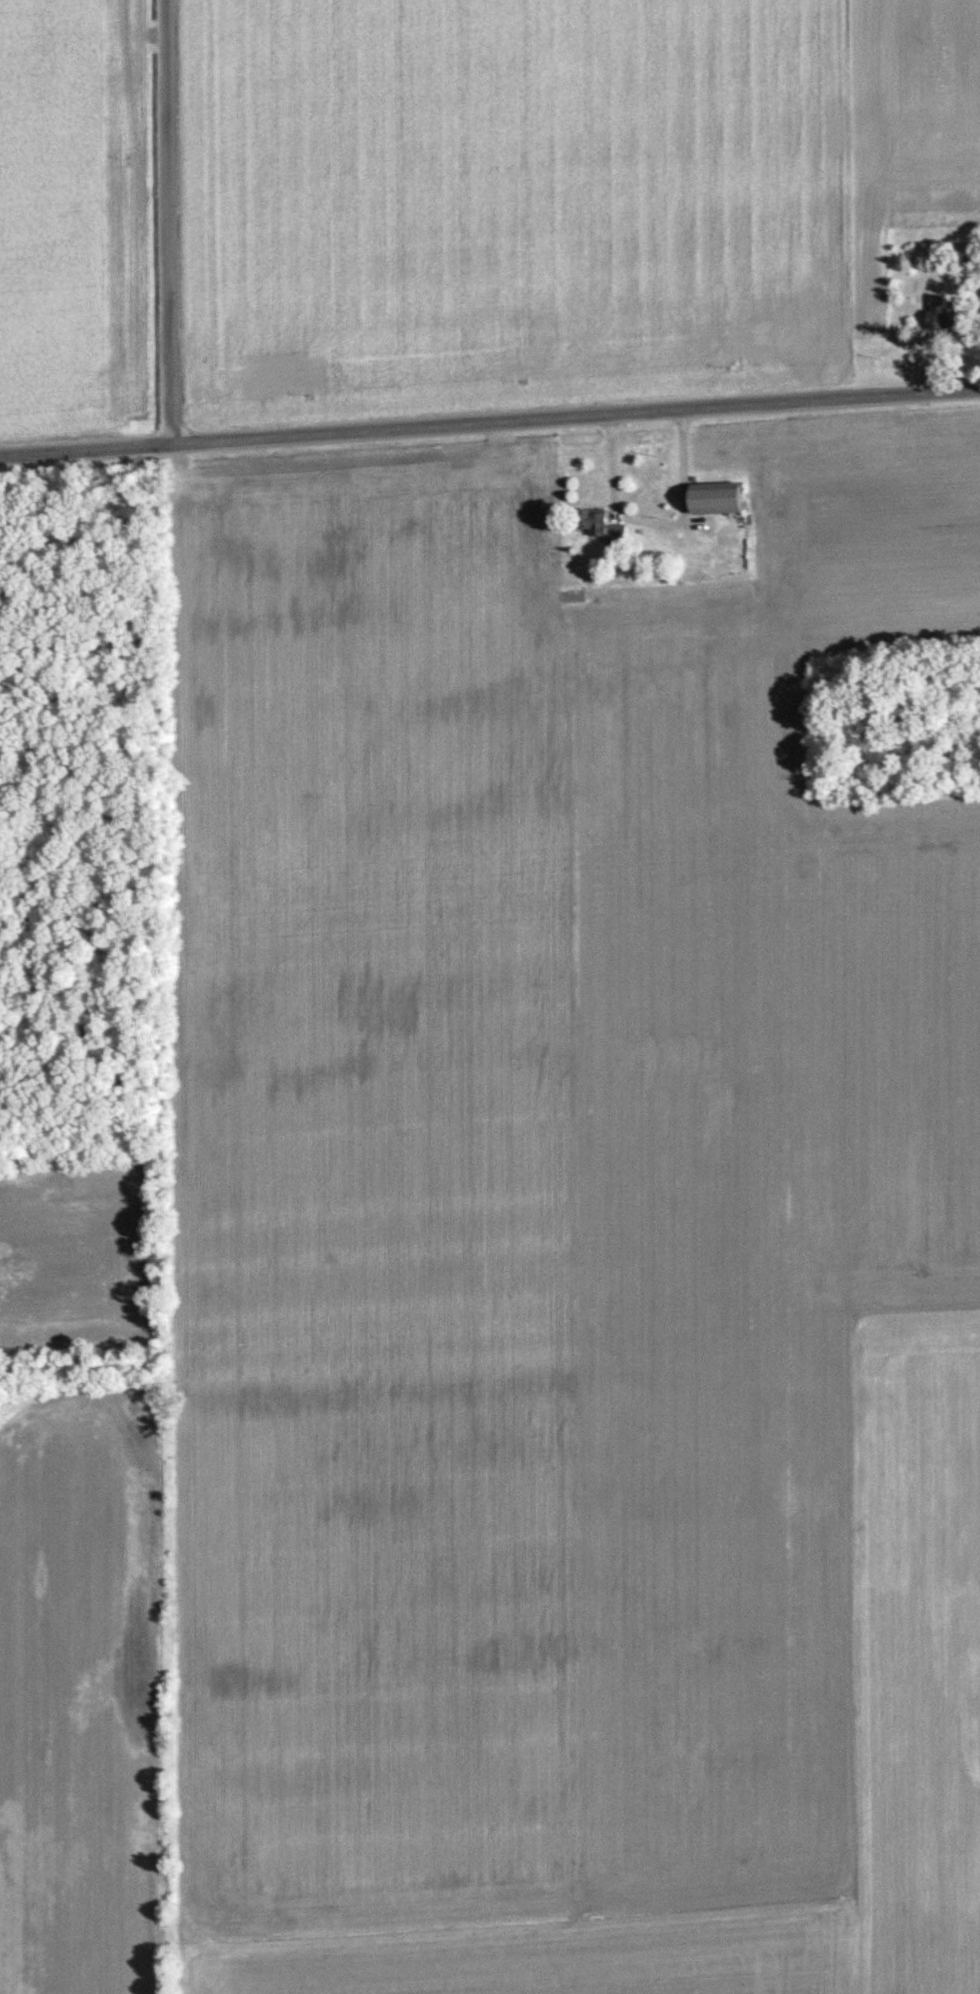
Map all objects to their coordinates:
road: (168, 222)
building: (947, 313)
road: (489, 423)
building: (727, 499)
road: (655, 523)
building: (610, 528)

